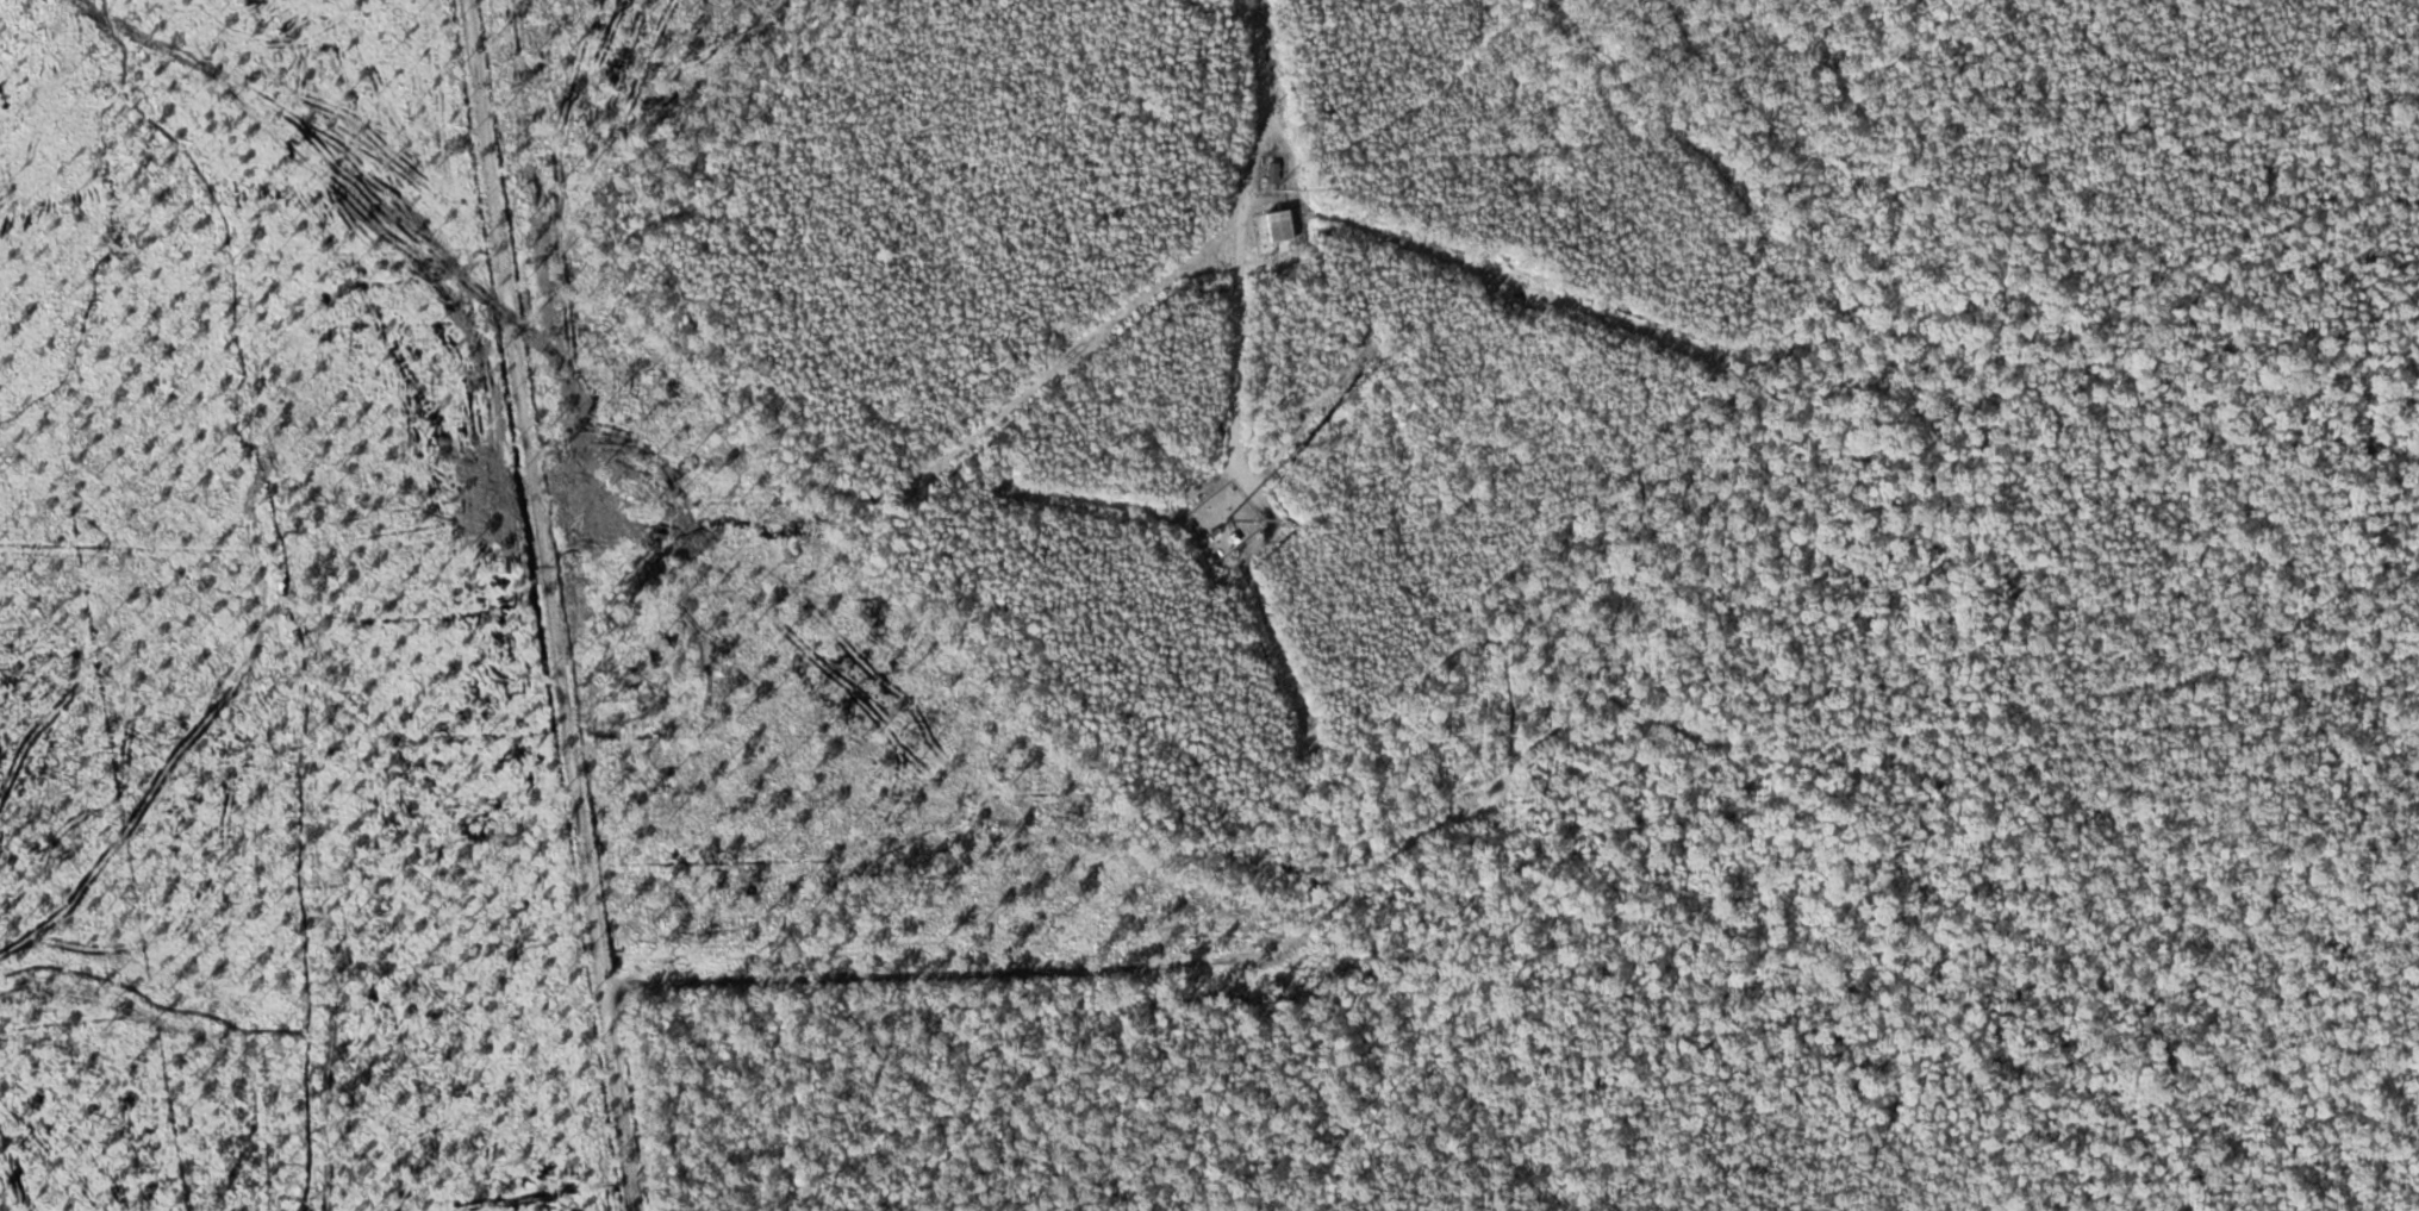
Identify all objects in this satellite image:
building: (1272, 171)
building: (1277, 225)
road: (586, 605)

